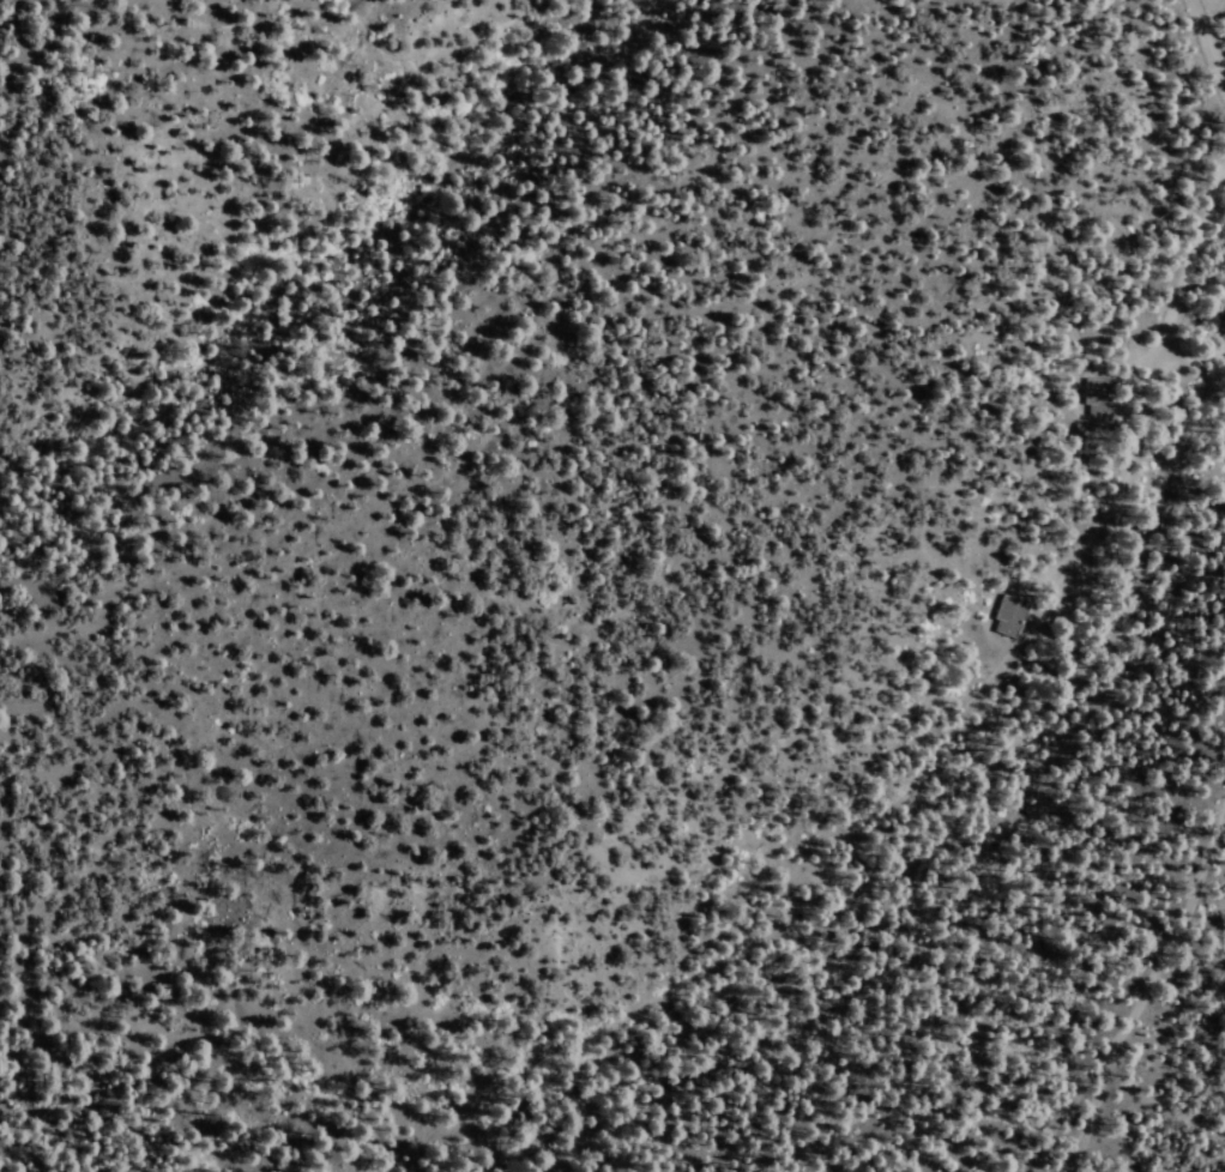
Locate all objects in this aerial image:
road: (1205, 52)
road: (1176, 291)
building: (1094, 399)
road: (1223, 487)
building: (1002, 621)

